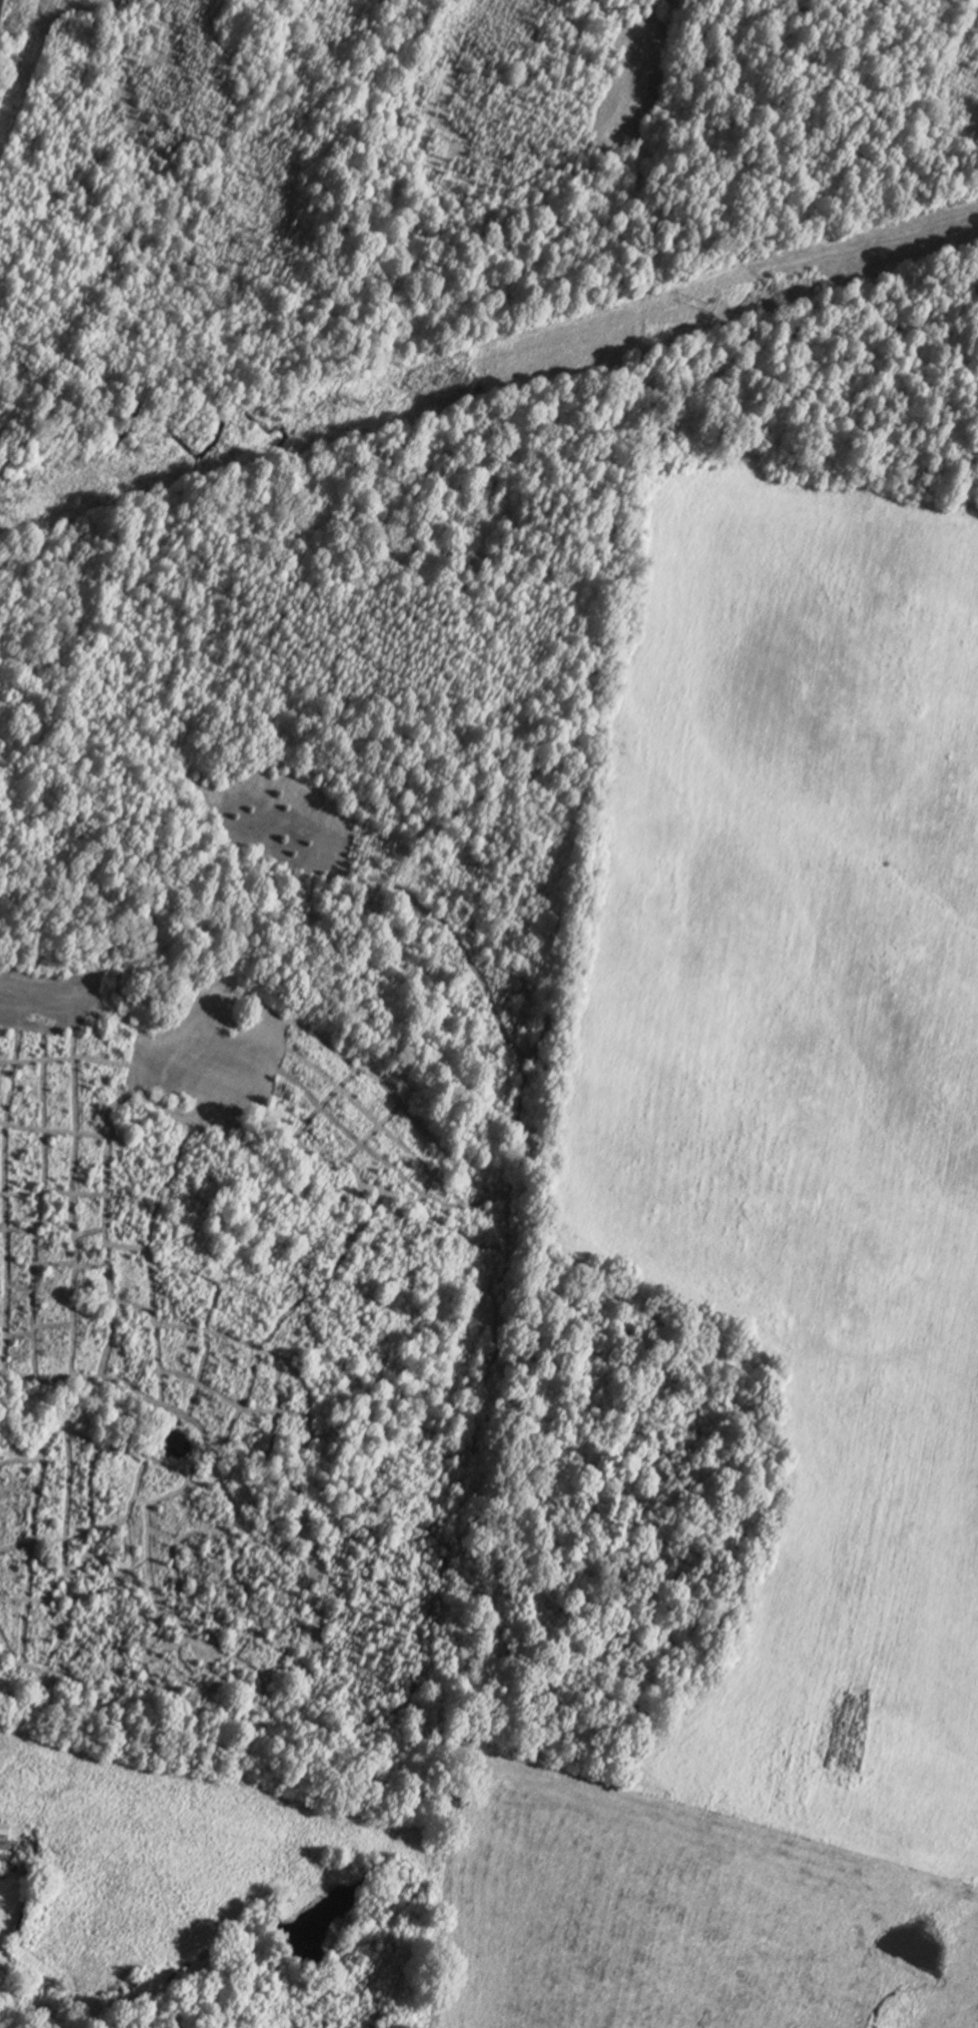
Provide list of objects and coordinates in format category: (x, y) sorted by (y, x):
road: (0, 0)
building: (22, 1918)

